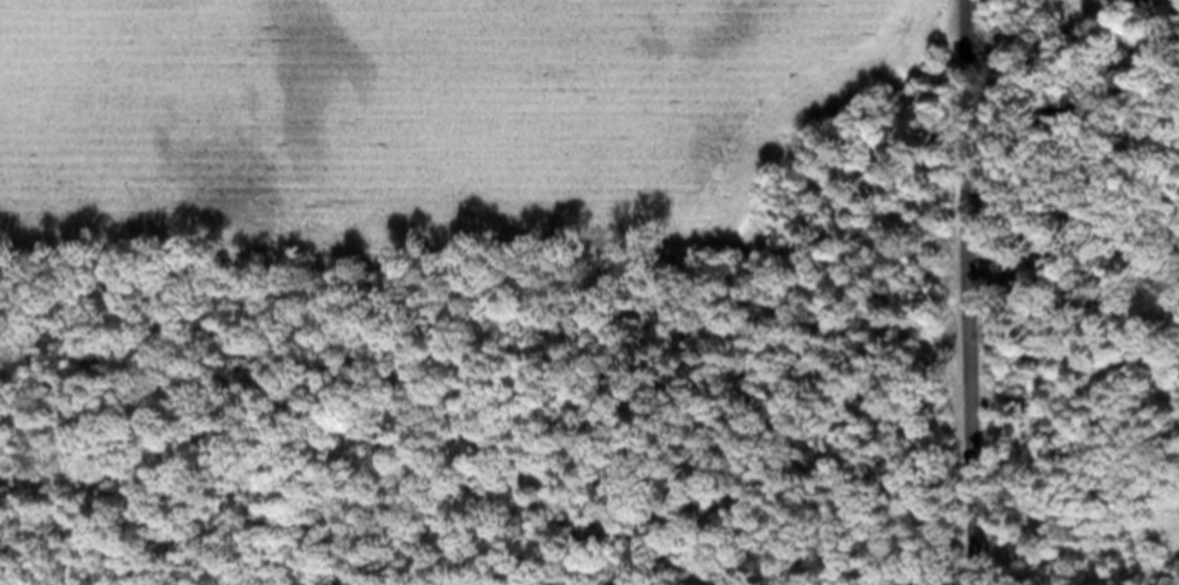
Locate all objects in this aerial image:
road: (1069, 254)
road: (971, 292)

